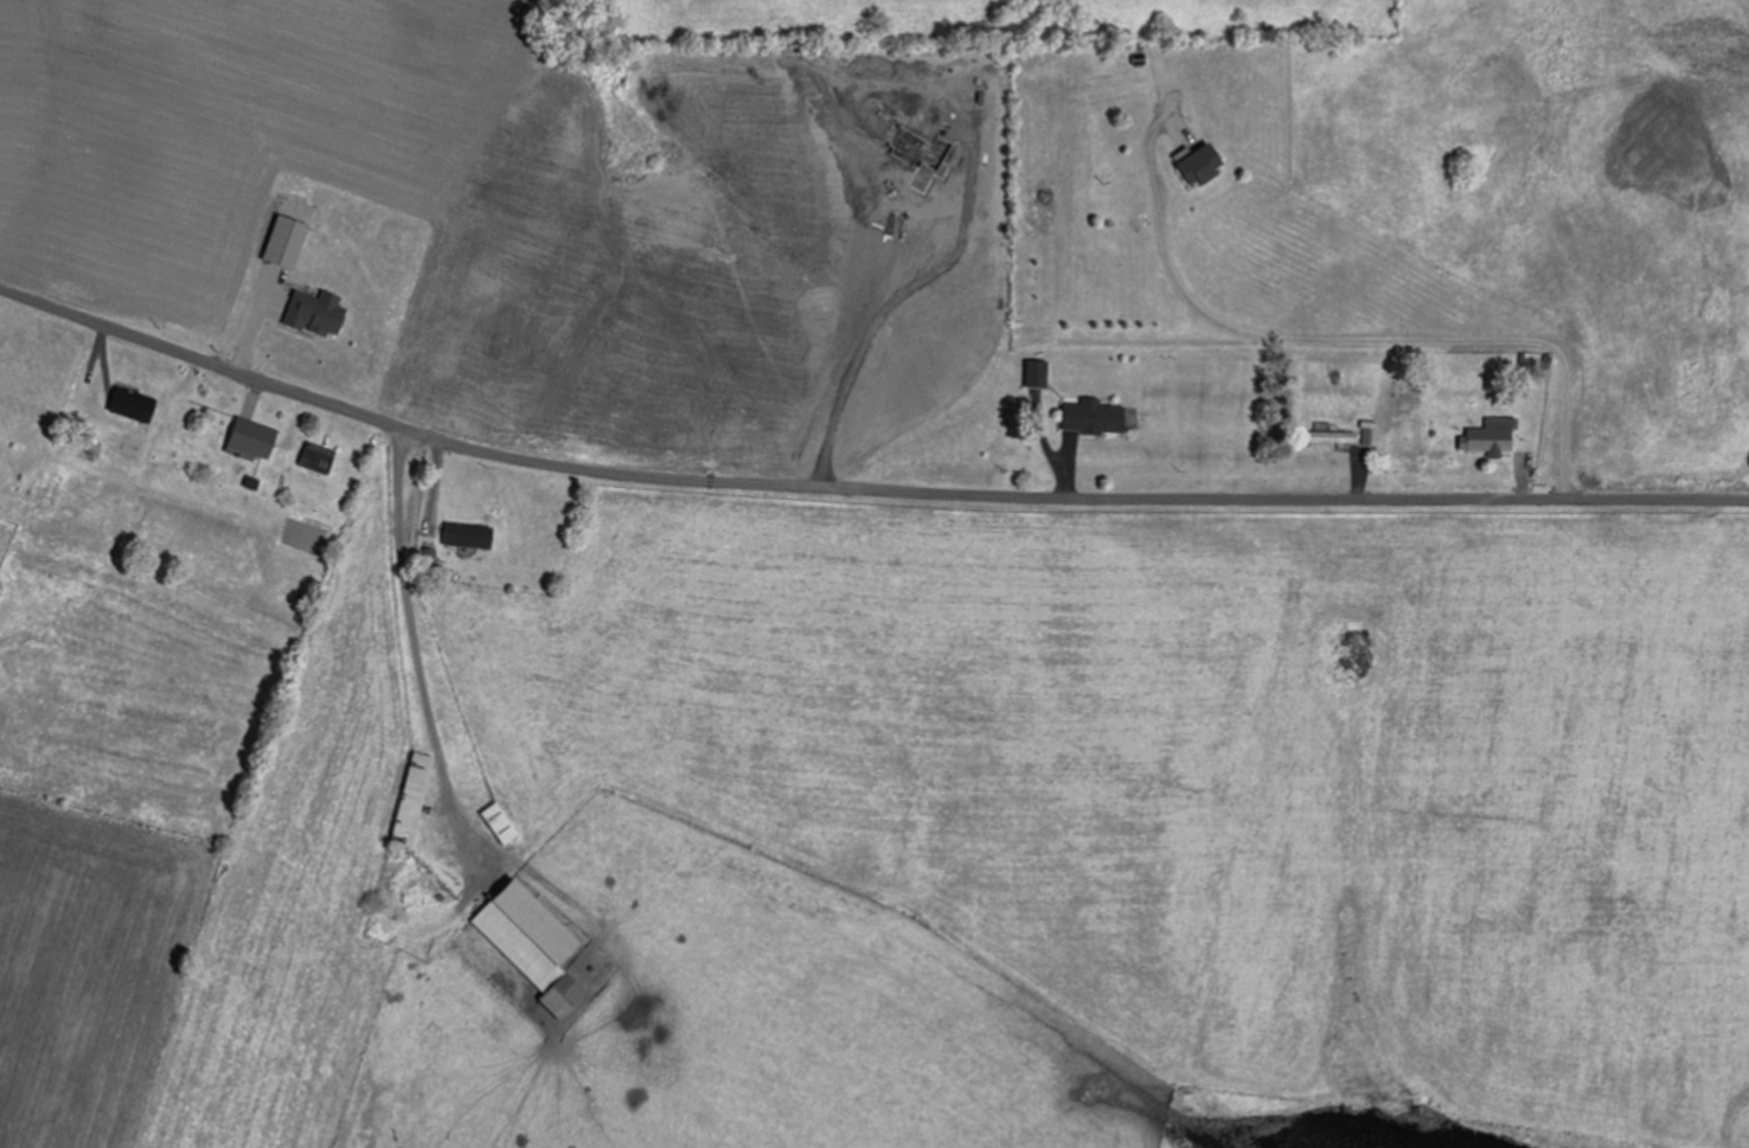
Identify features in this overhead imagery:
building: (1205, 167)
building: (1040, 376)
building: (136, 406)
building: (1097, 419)
building: (1333, 438)
building: (1494, 440)
building: (256, 441)
building: (320, 460)
road: (859, 492)
road: (376, 652)
building: (417, 801)
building: (504, 822)
building: (537, 943)

